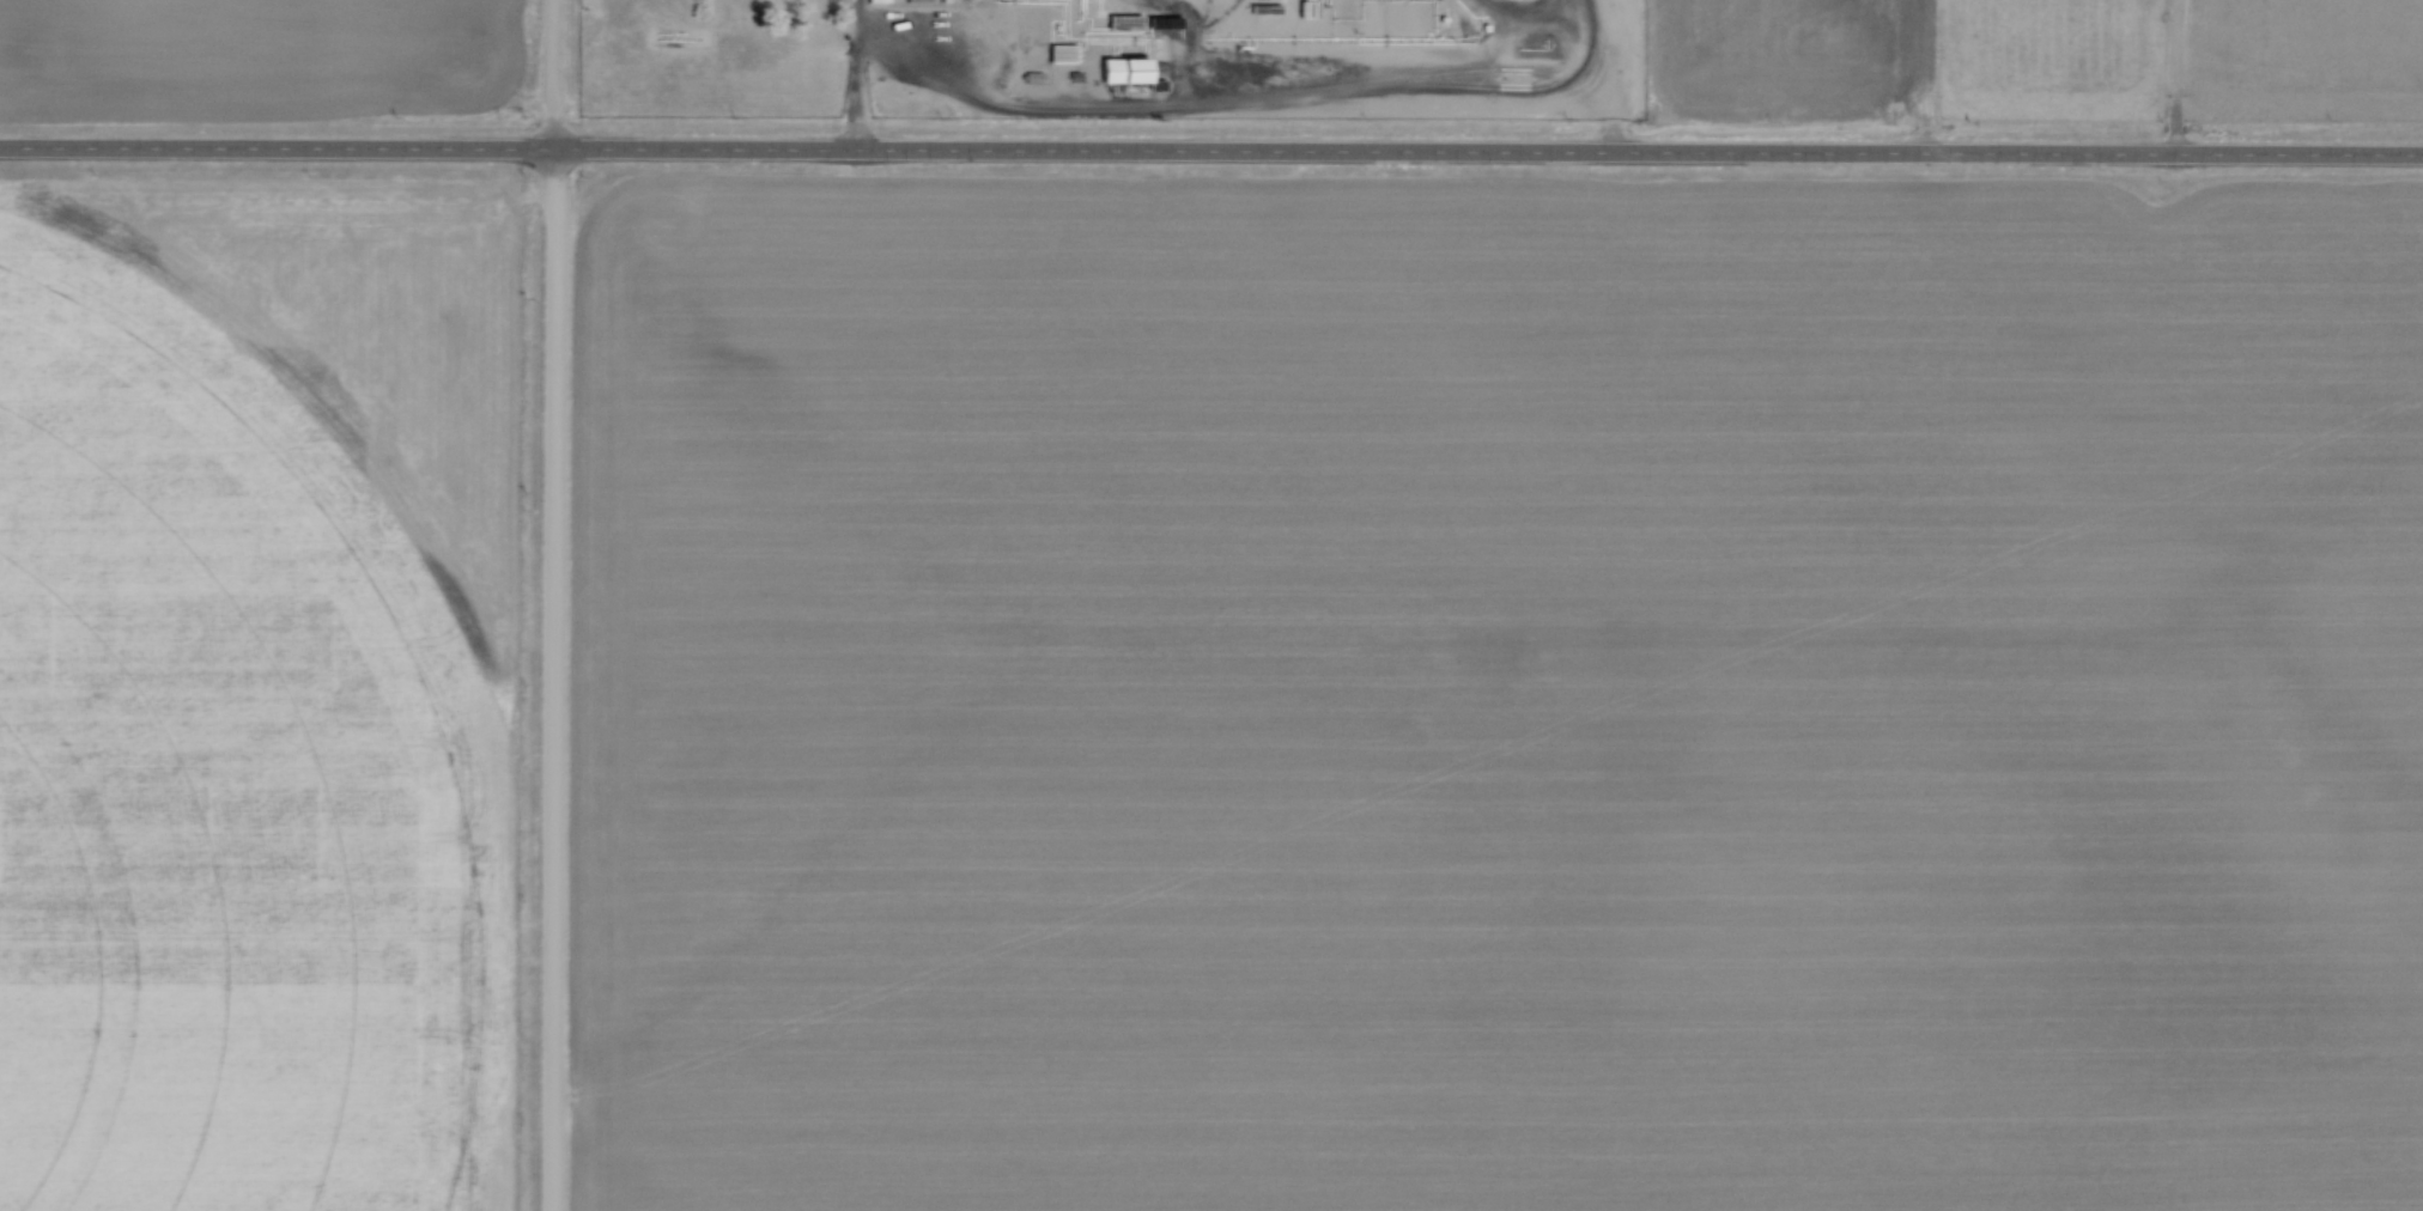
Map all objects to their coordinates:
building: (923, 1)
building: (879, 2)
road: (856, 37)
crop: (2352, 56)
crop: (1903, 57)
crop: (255, 60)
building: (1125, 69)
road: (2176, 77)
road: (1244, 98)
road: (857, 111)
road: (1211, 150)
road: (554, 604)
crop: (1498, 692)
crop: (261, 695)

